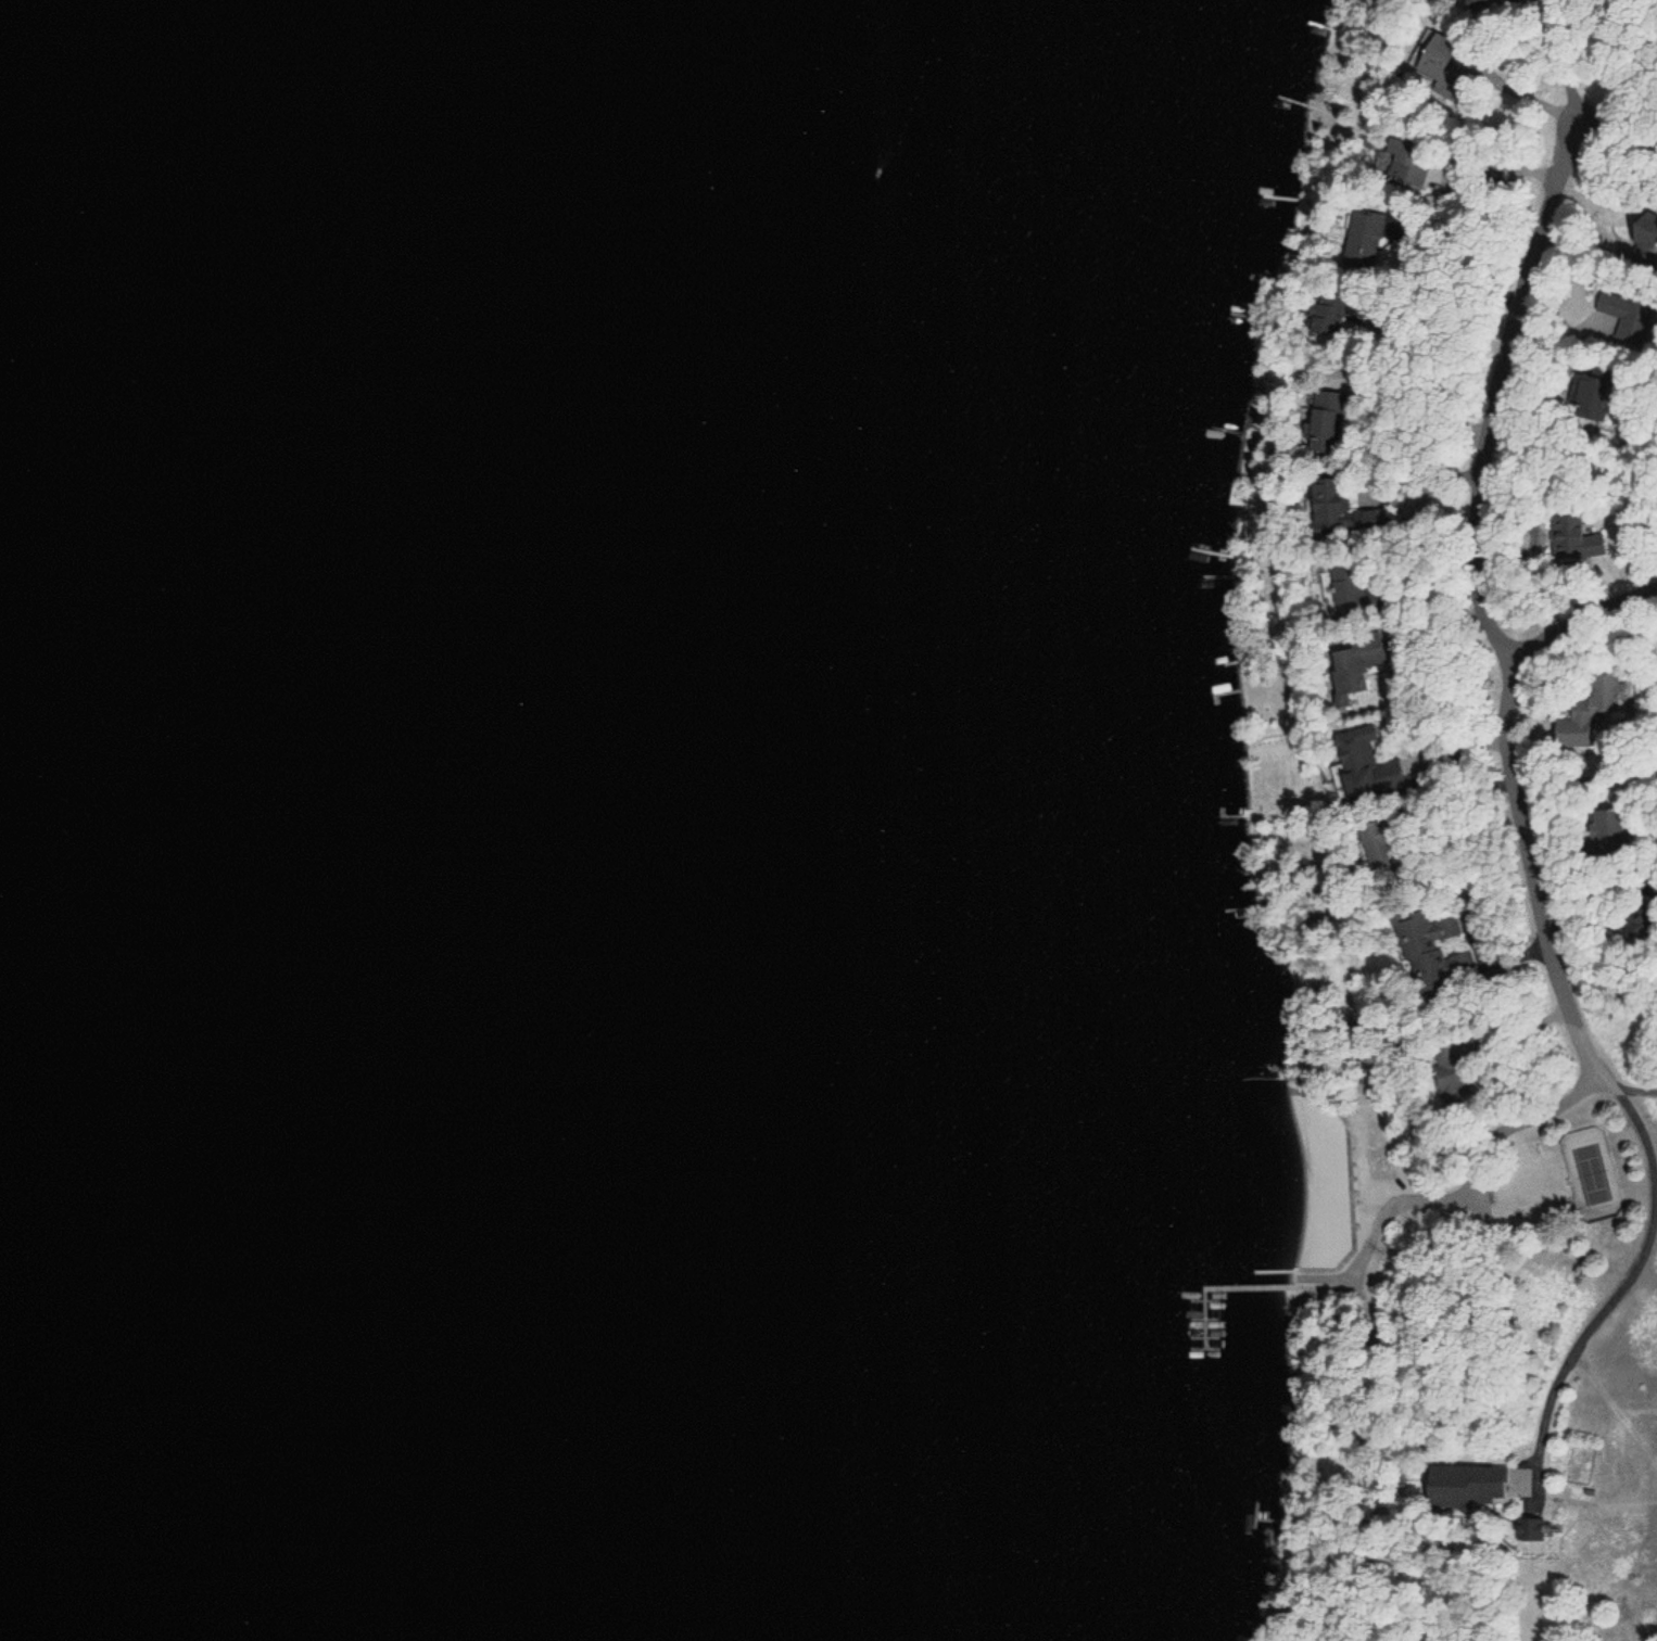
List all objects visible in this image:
building: (1442, 49)
building: (1621, 305)
road: (1522, 381)
building: (1591, 385)
building: (1323, 424)
building: (1328, 508)
building: (1574, 538)
building: (1351, 669)
building: (1592, 712)
road: (1521, 788)
building: (1601, 829)
building: (1426, 946)
building: (1447, 1054)
road: (1576, 1092)
park: (1593, 1173)
road: (1403, 1188)
building: (1466, 1481)
building: (1530, 1529)

